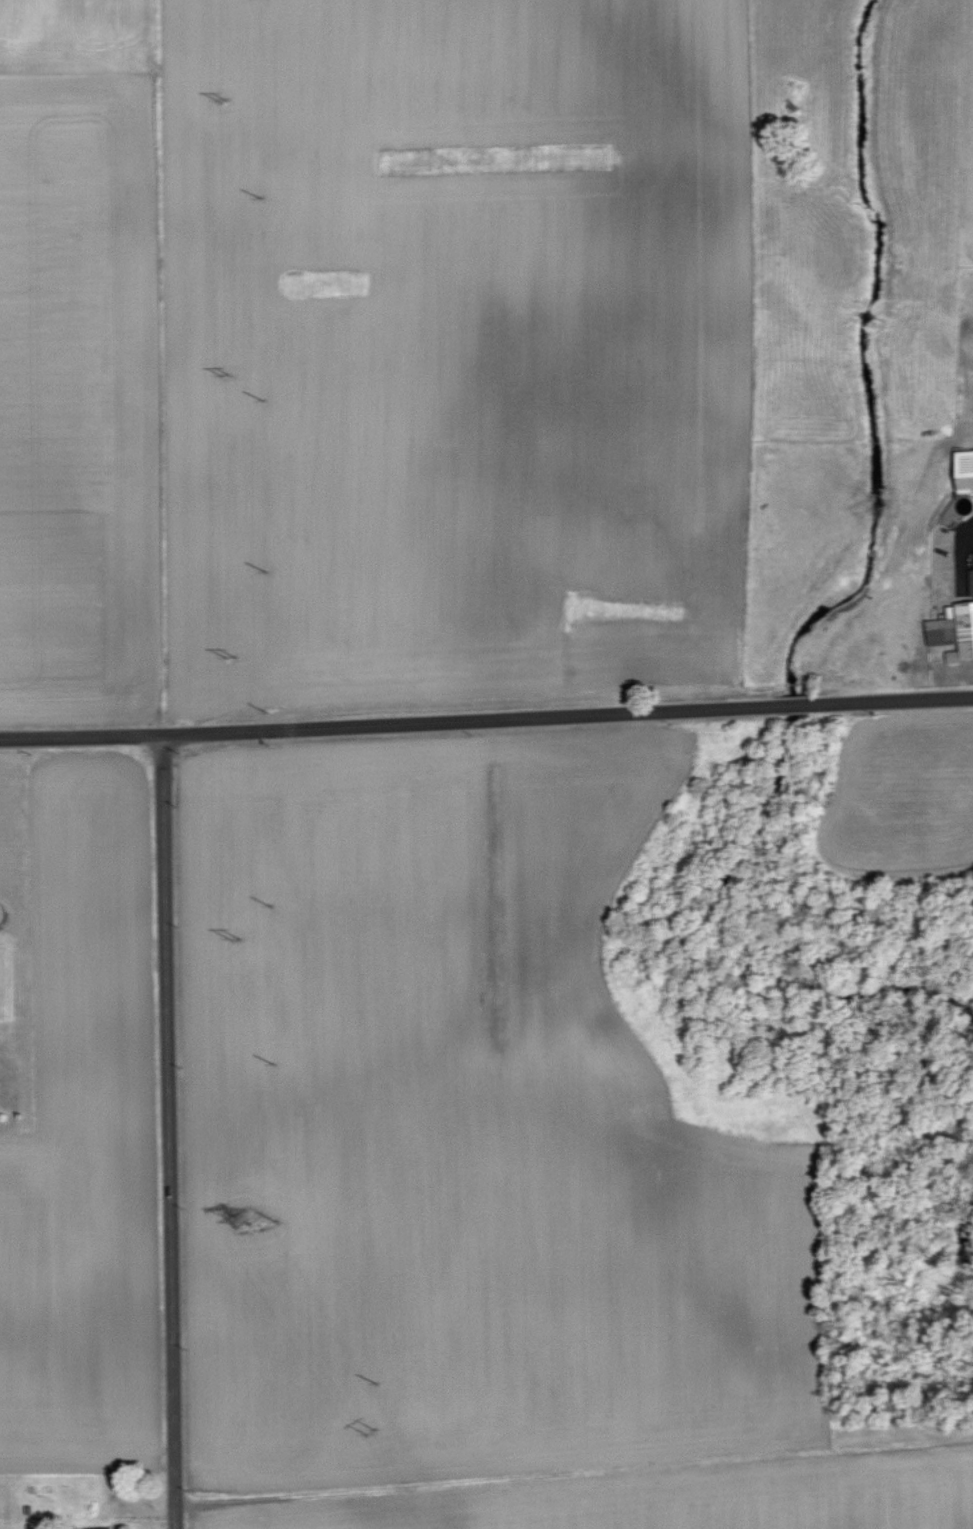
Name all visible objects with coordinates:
building: (960, 471)
road: (960, 554)
building: (969, 578)
building: (951, 630)
road: (486, 728)
road: (165, 1133)
building: (105, 1527)

